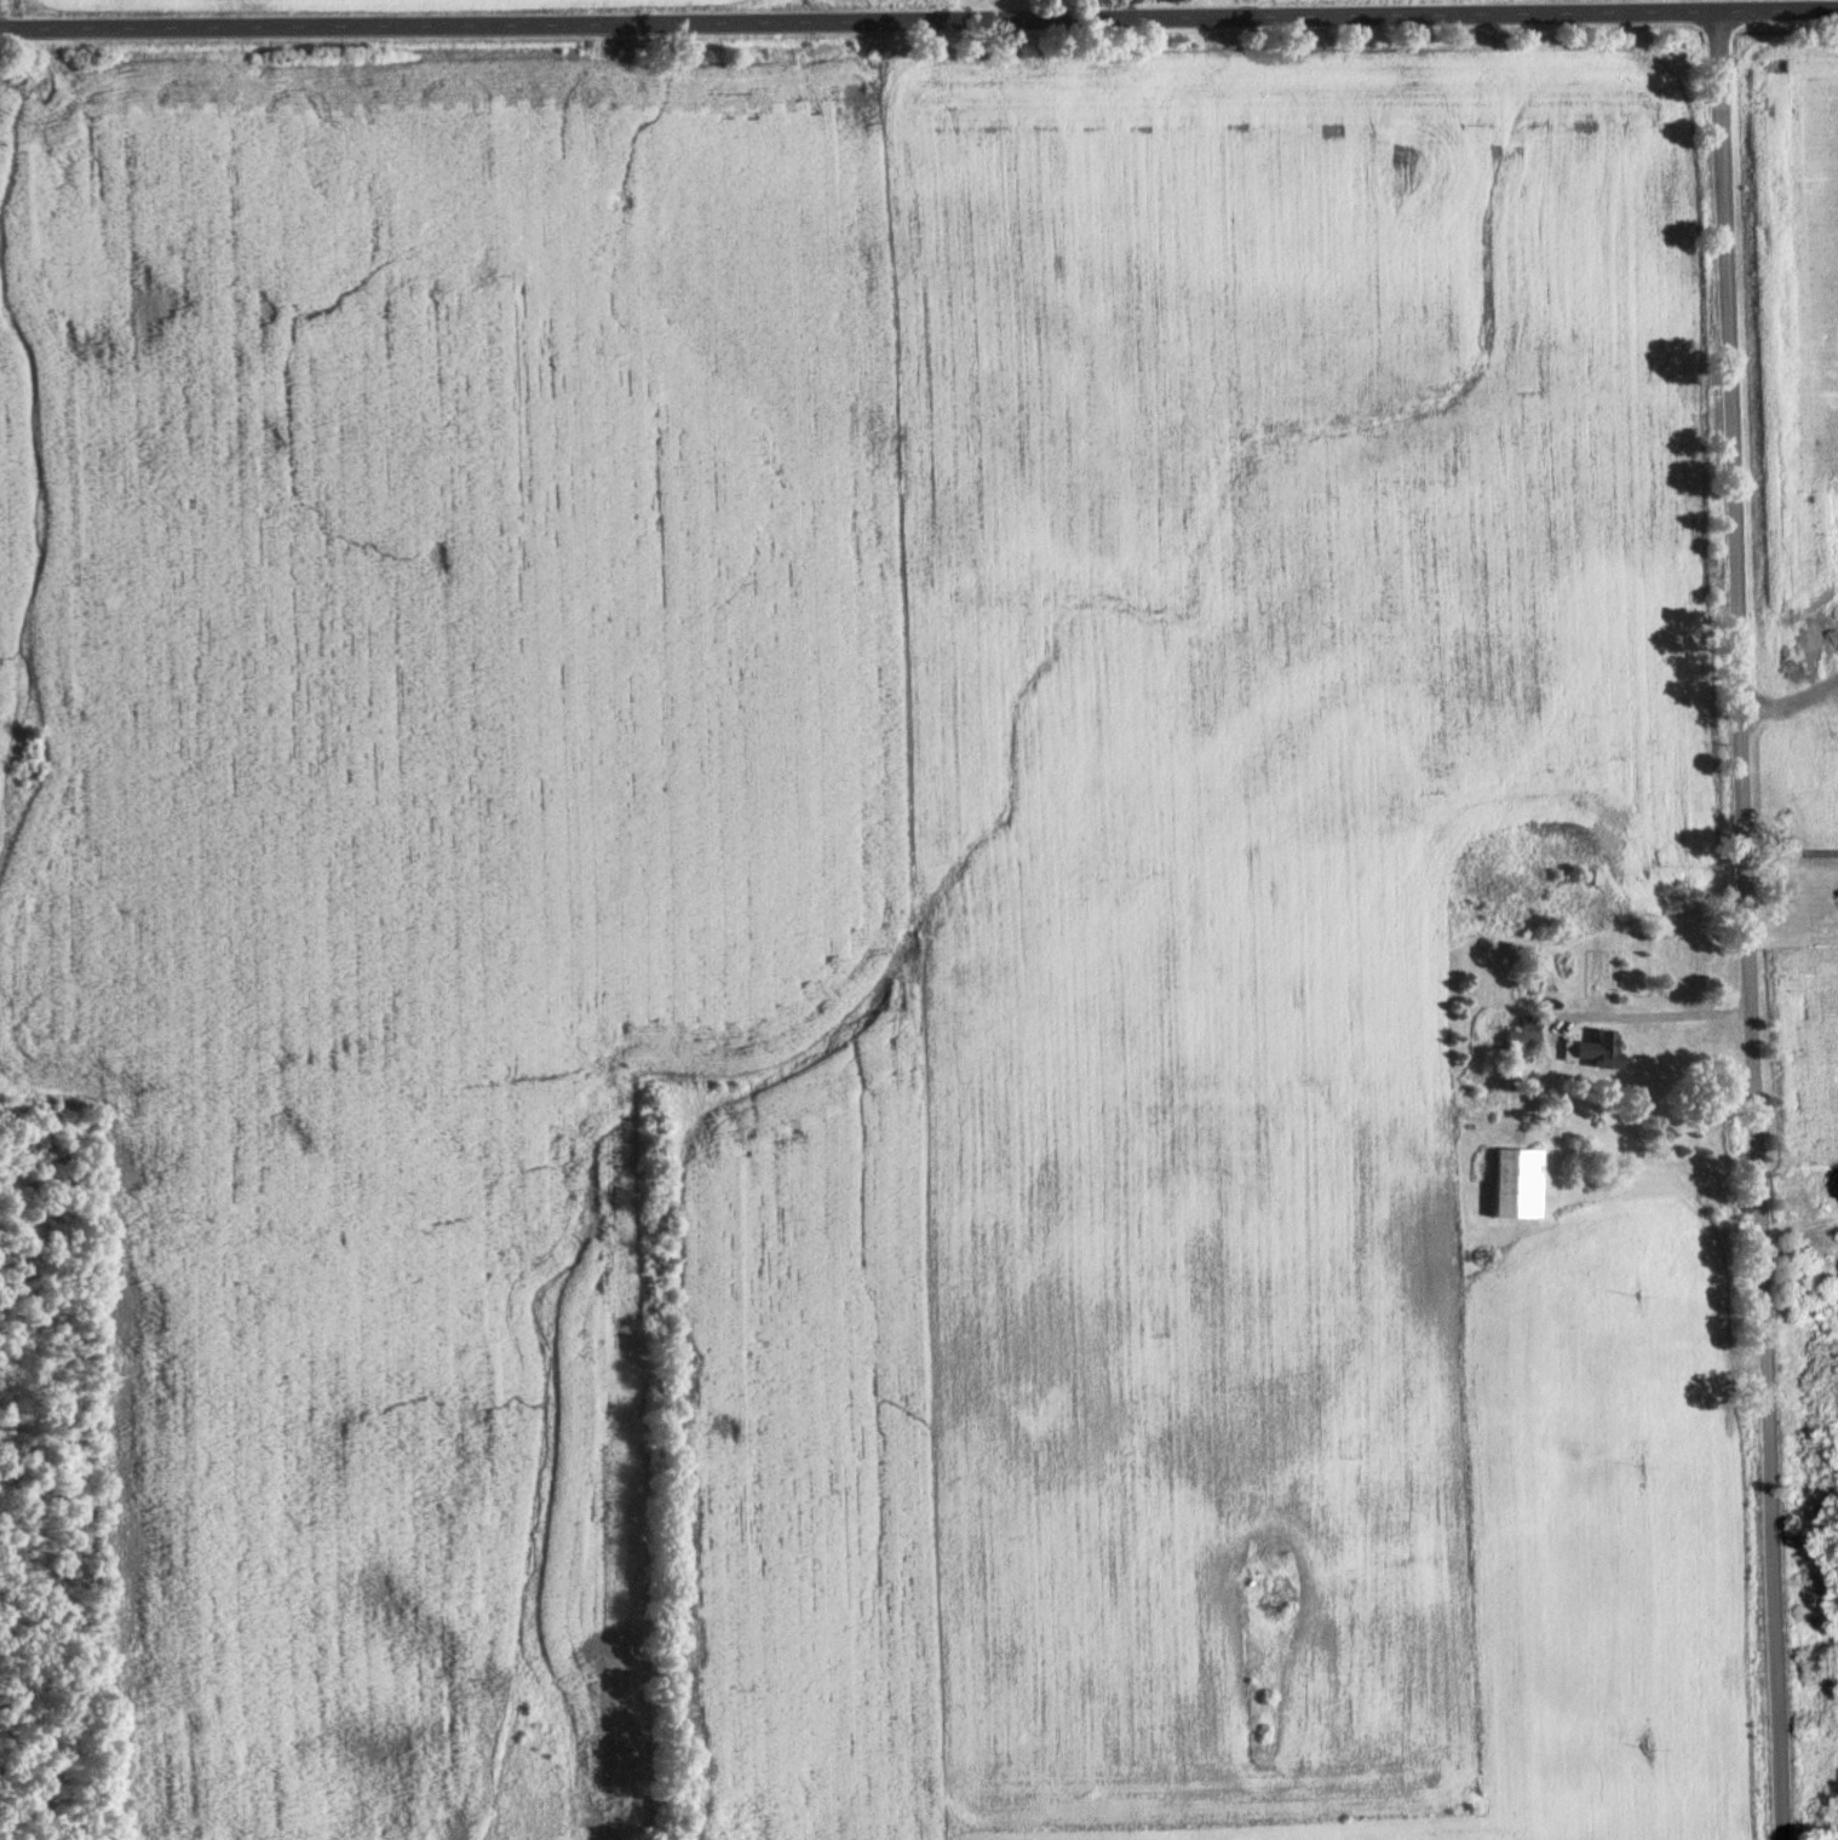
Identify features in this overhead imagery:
road: (919, 16)
road: (1790, 708)
road: (1790, 862)
building: (1591, 876)
building: (1837, 912)
road: (1744, 925)
building: (1528, 999)
road: (1648, 1019)
building: (1596, 1050)
building: (1516, 1052)
building: (1521, 1184)

